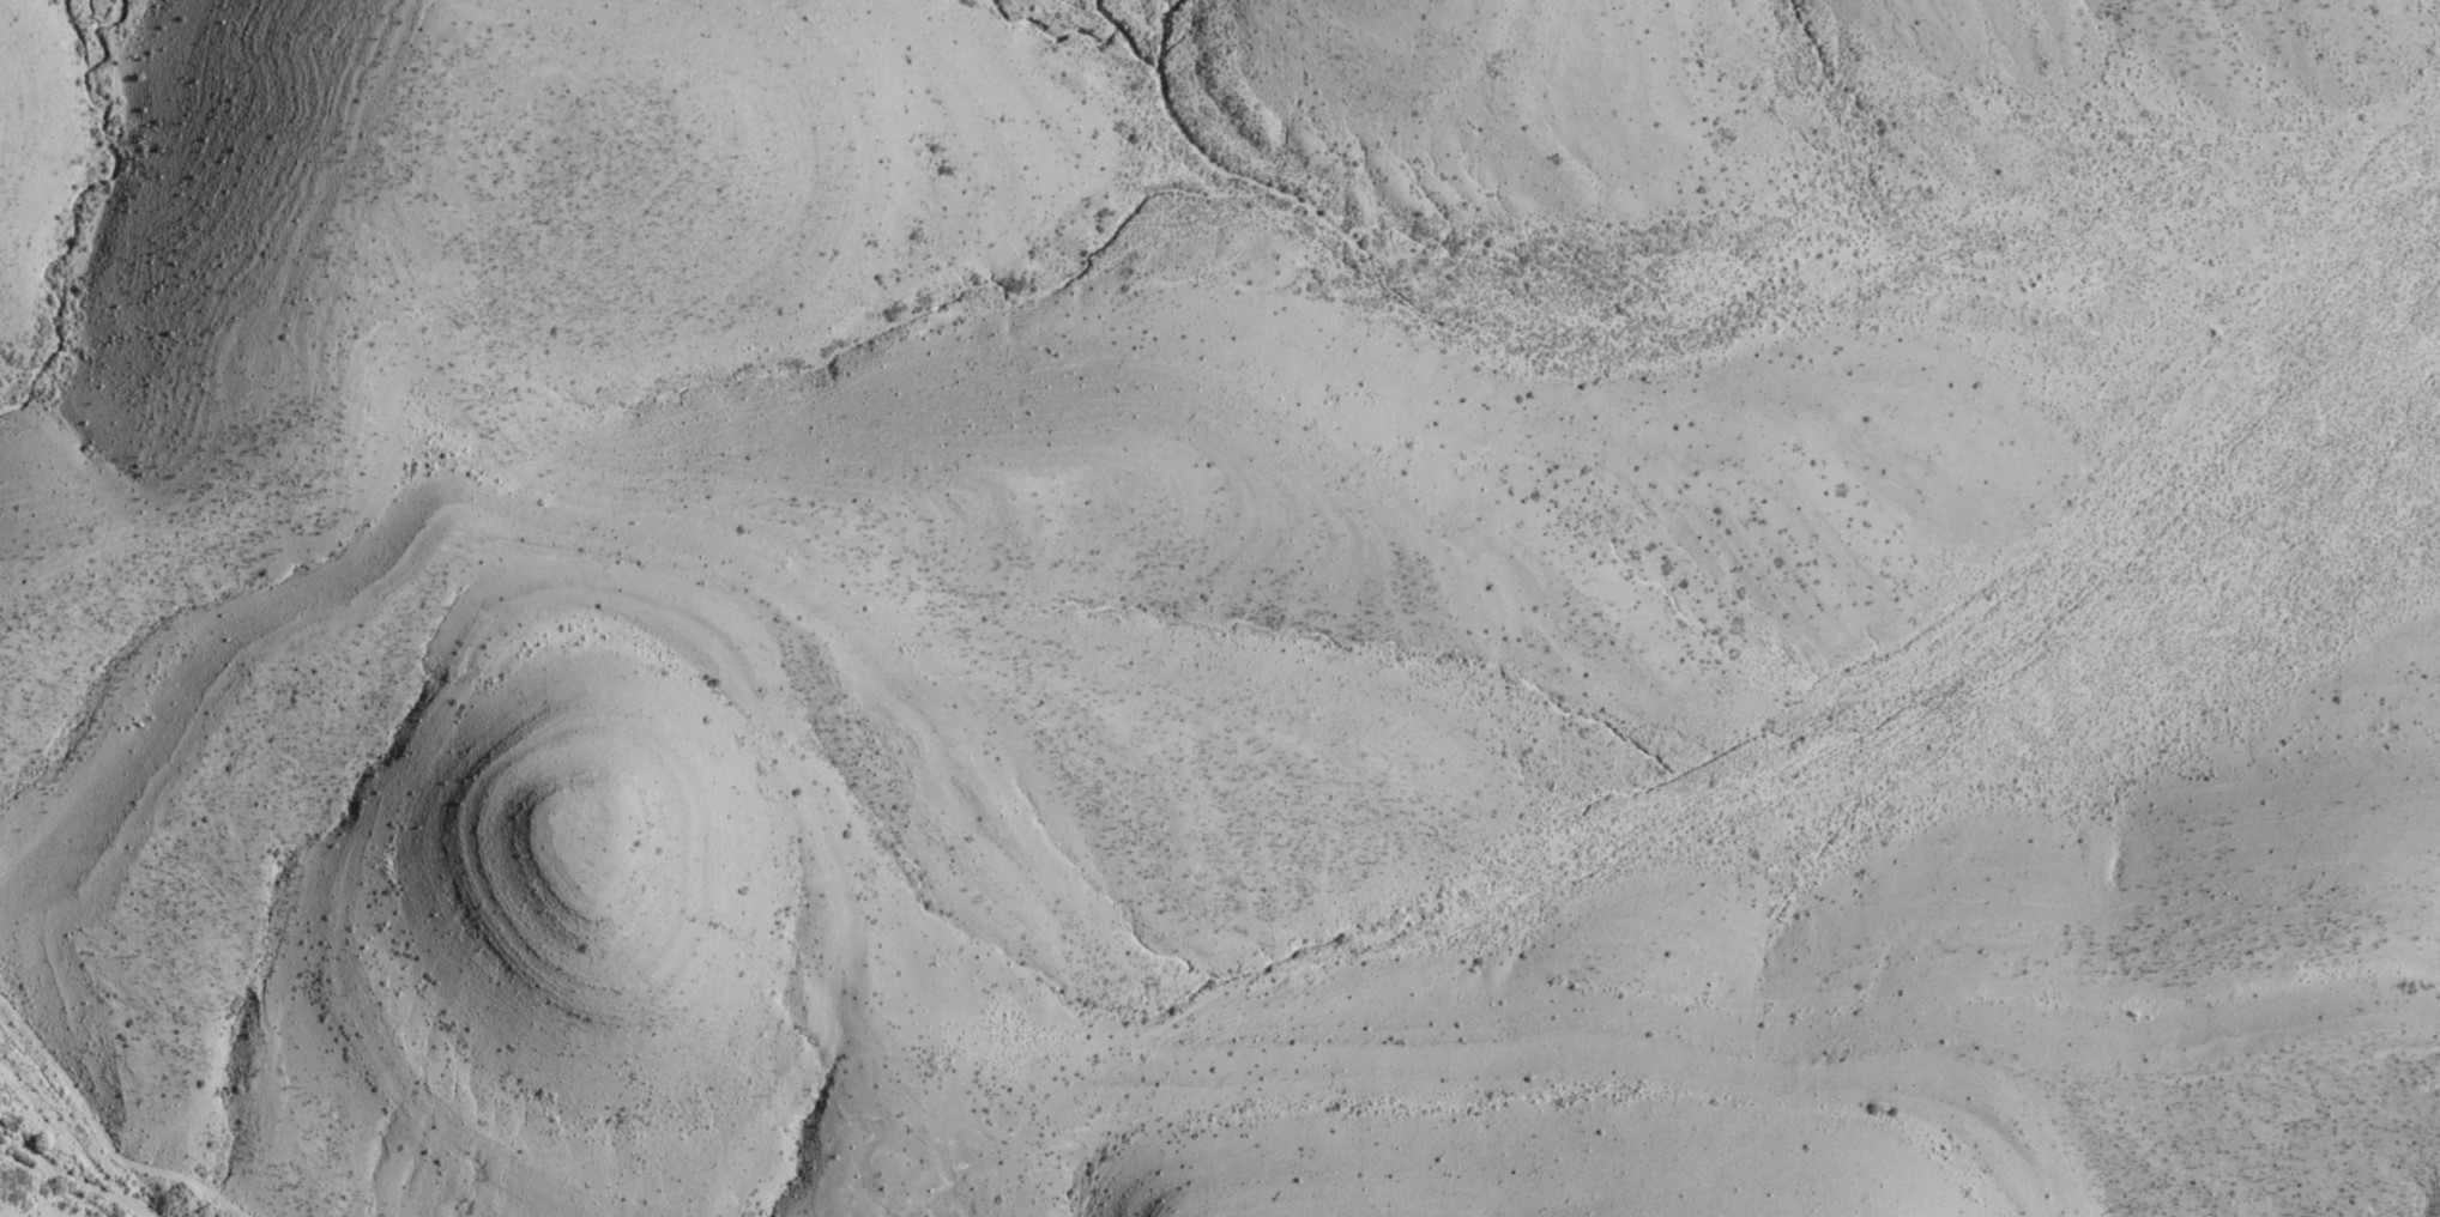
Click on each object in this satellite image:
road: (86, 1126)

